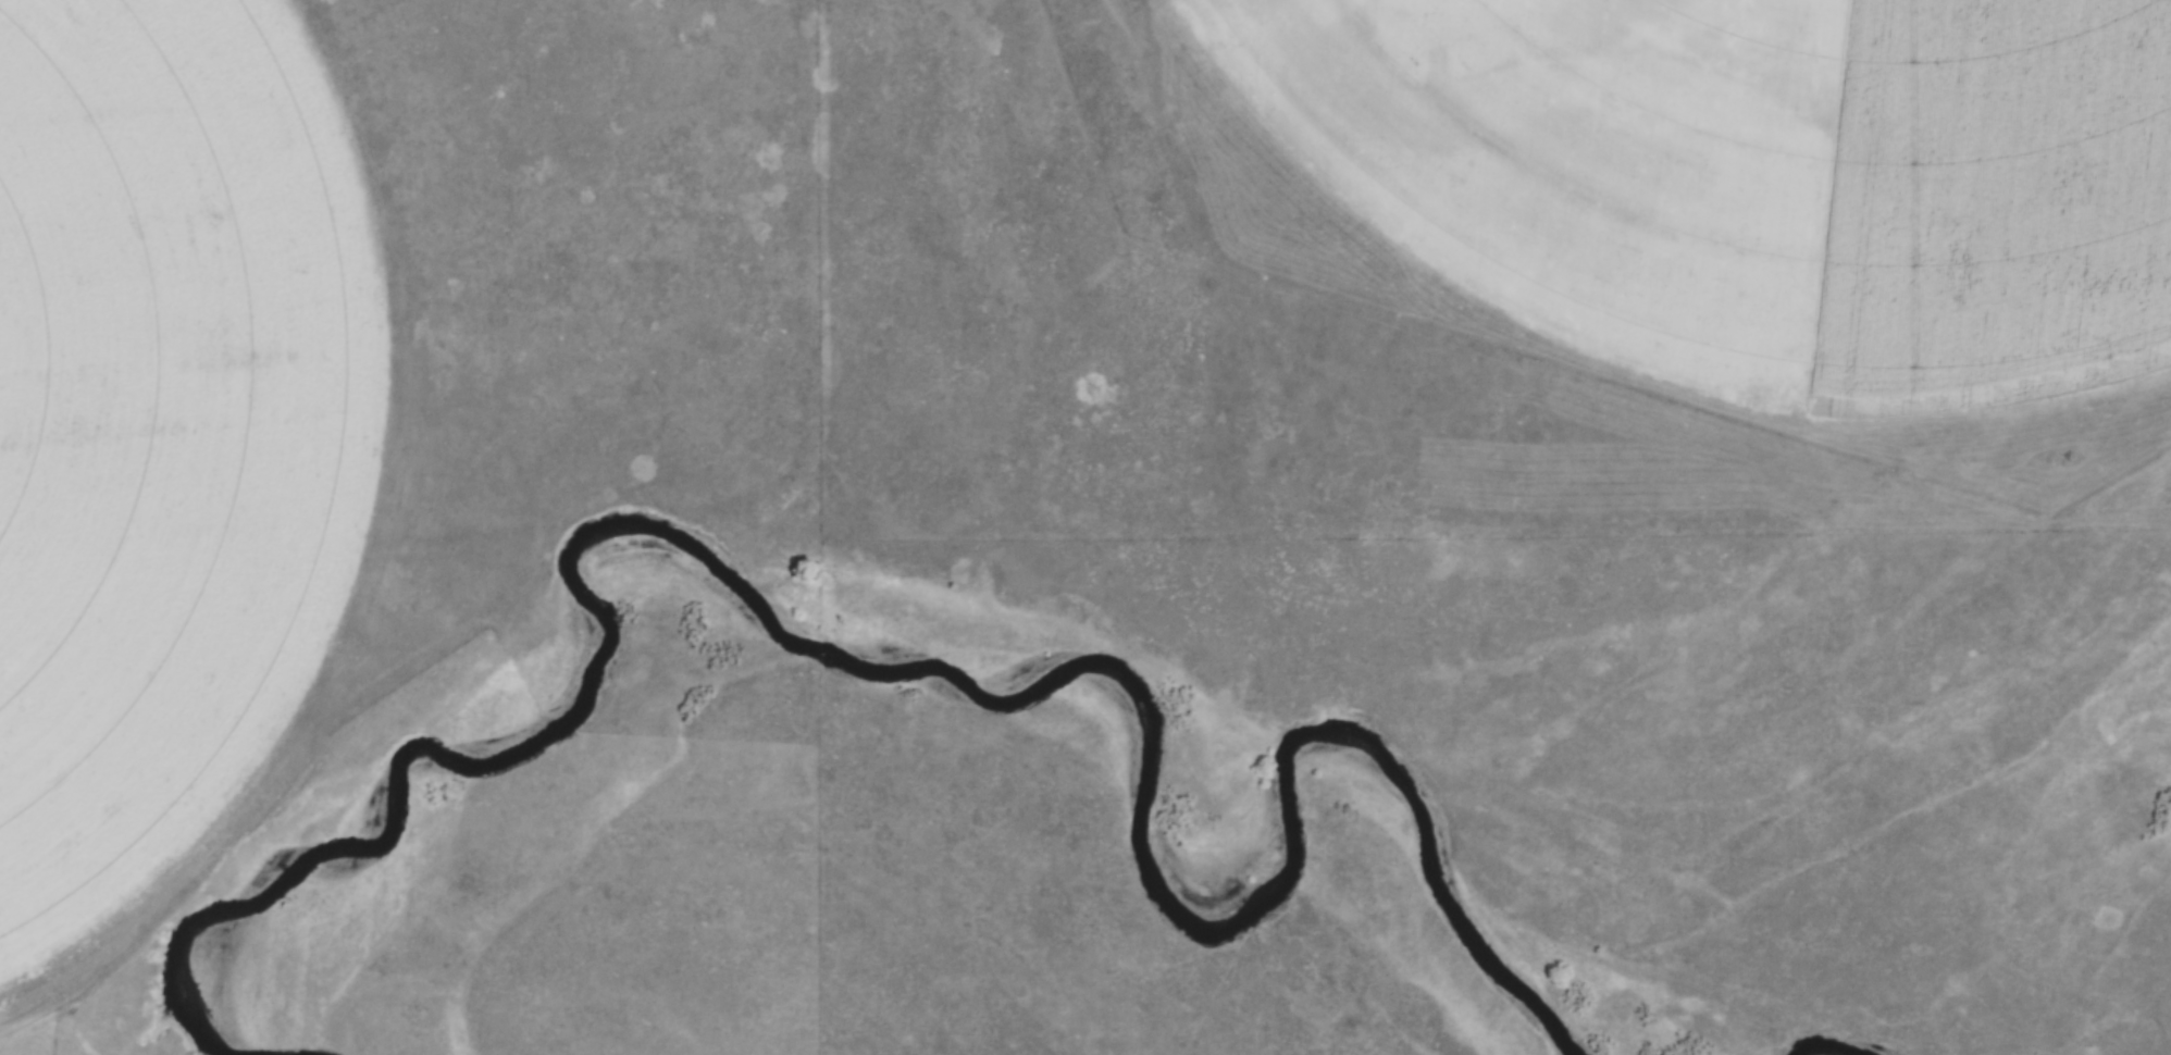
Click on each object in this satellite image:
river: (907, 667)
river: (1813, 1050)

